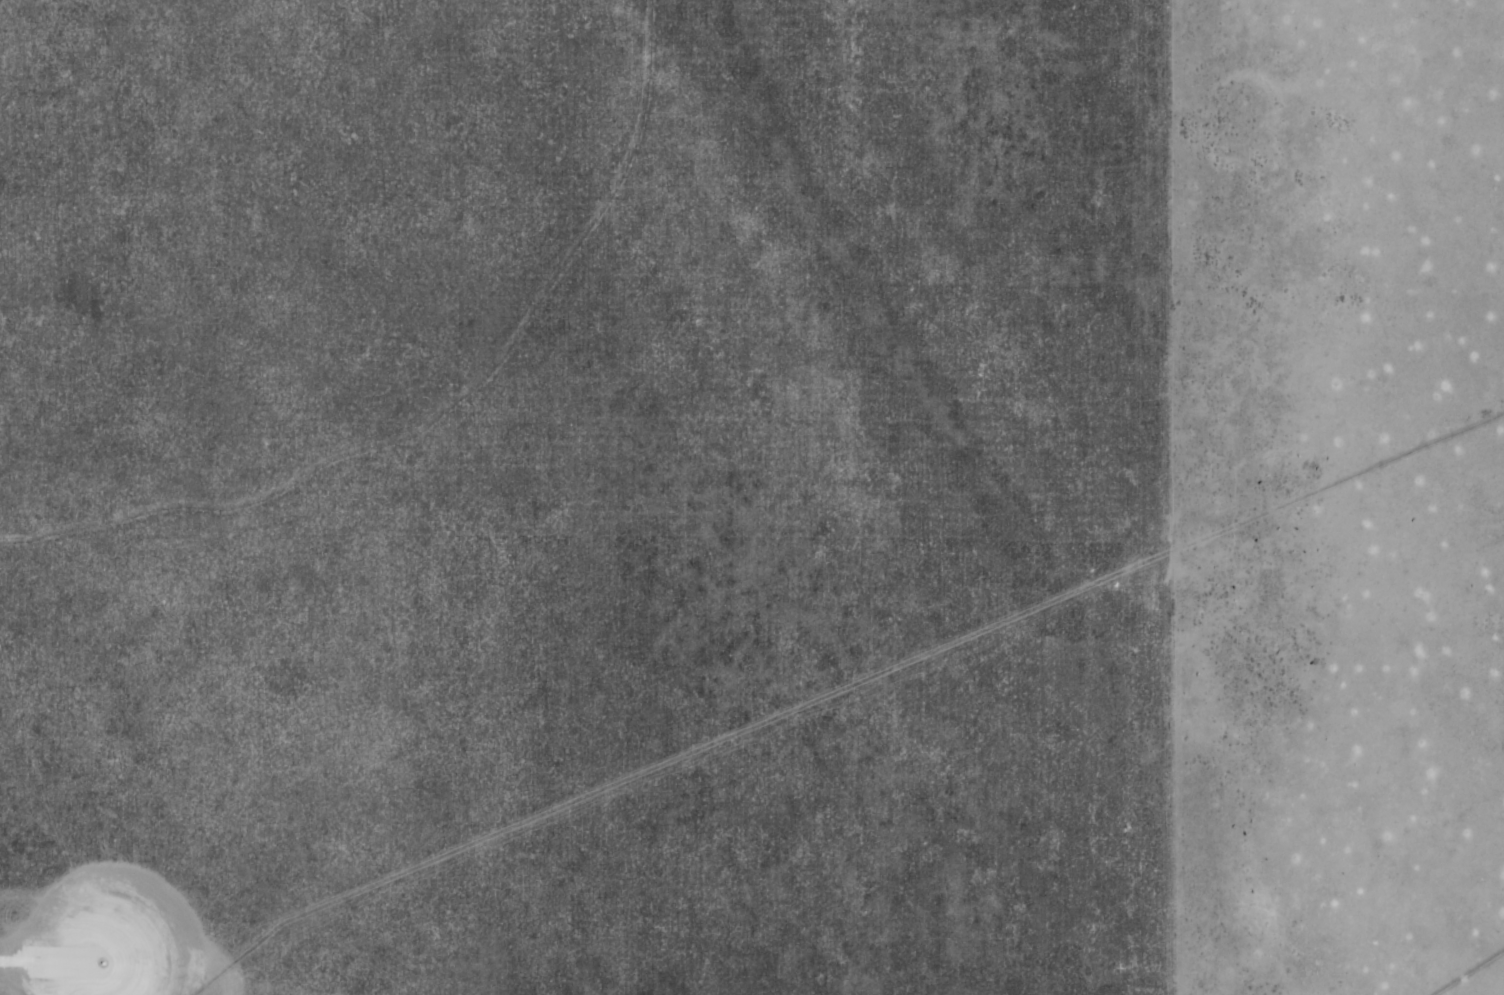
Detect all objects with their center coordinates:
wind turbine: (83, 981)

